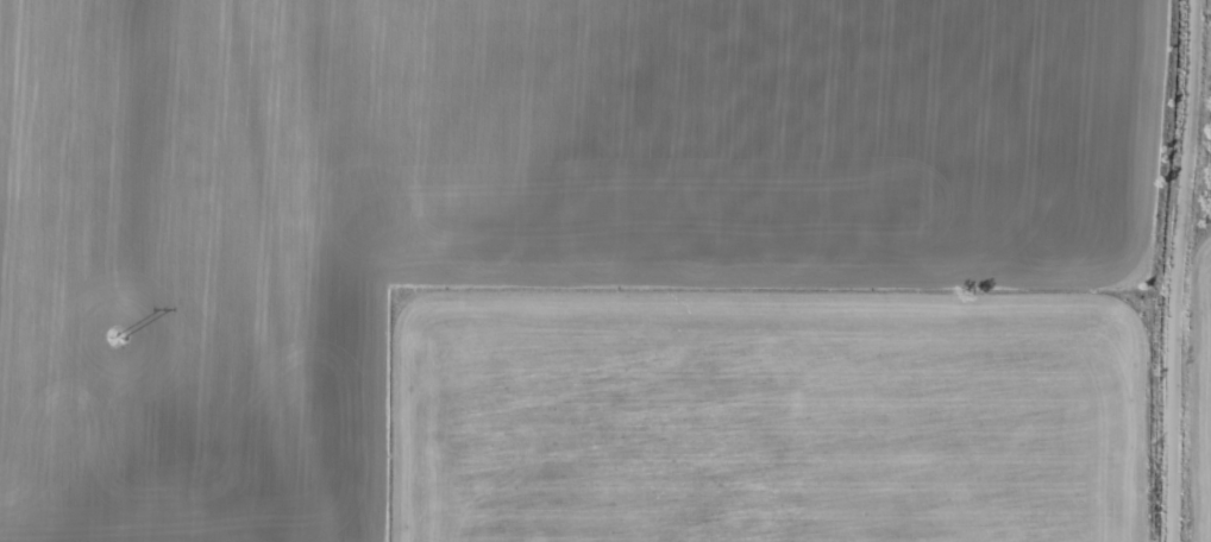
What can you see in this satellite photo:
road: (1166, 271)
power tower: (117, 339)

